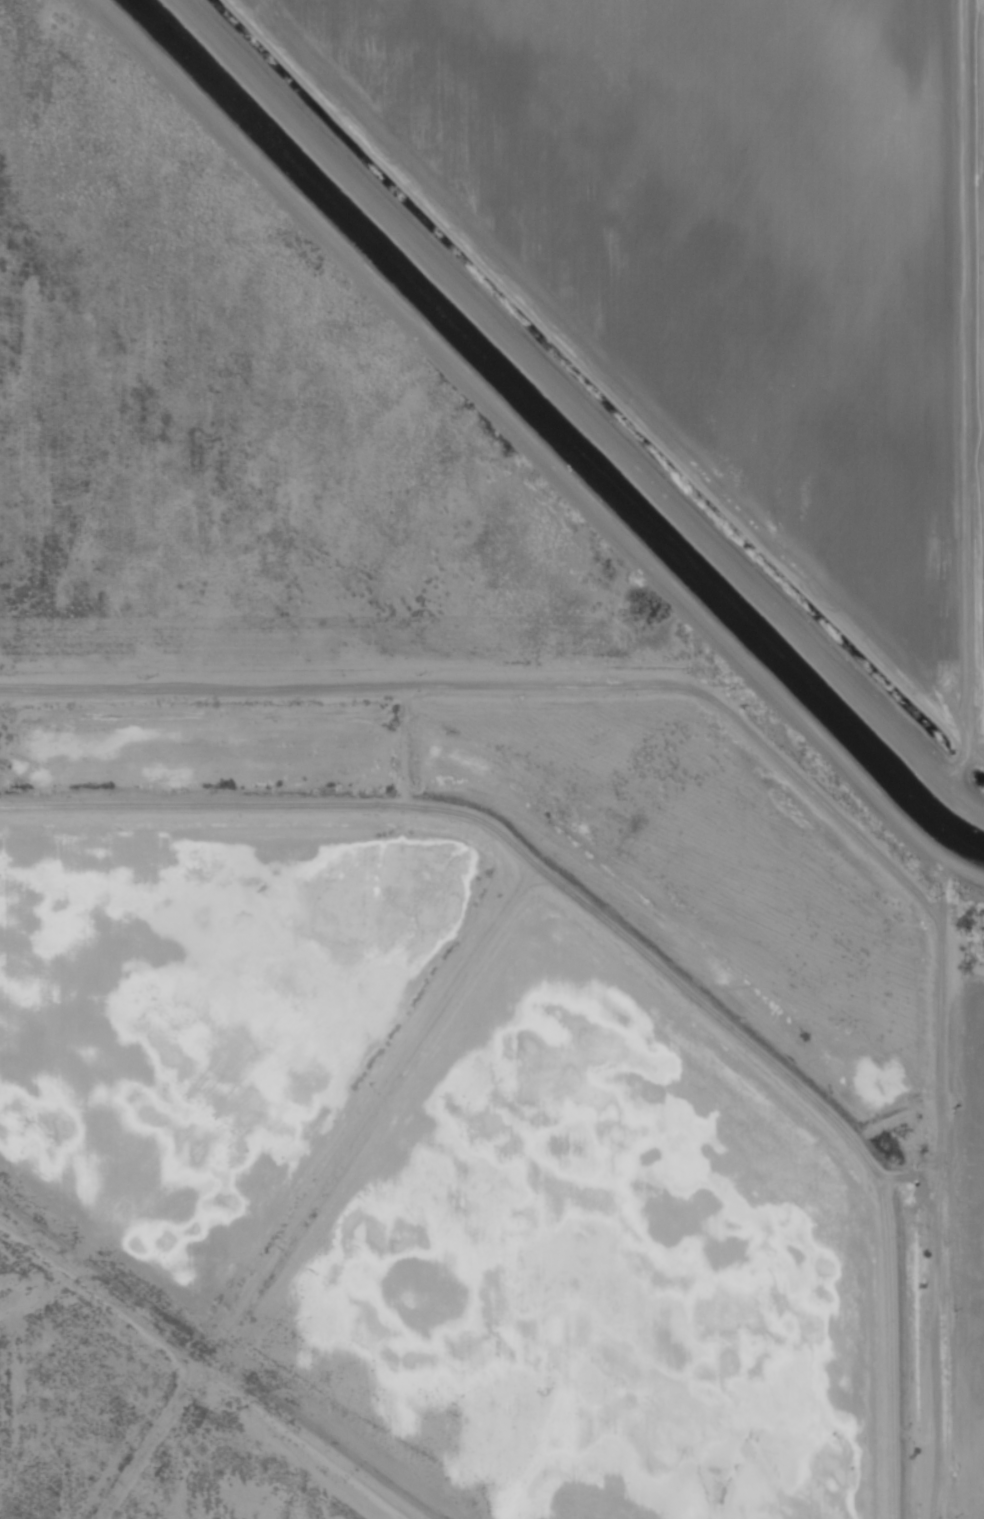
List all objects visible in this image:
road: (938, 64)
road: (893, 201)

